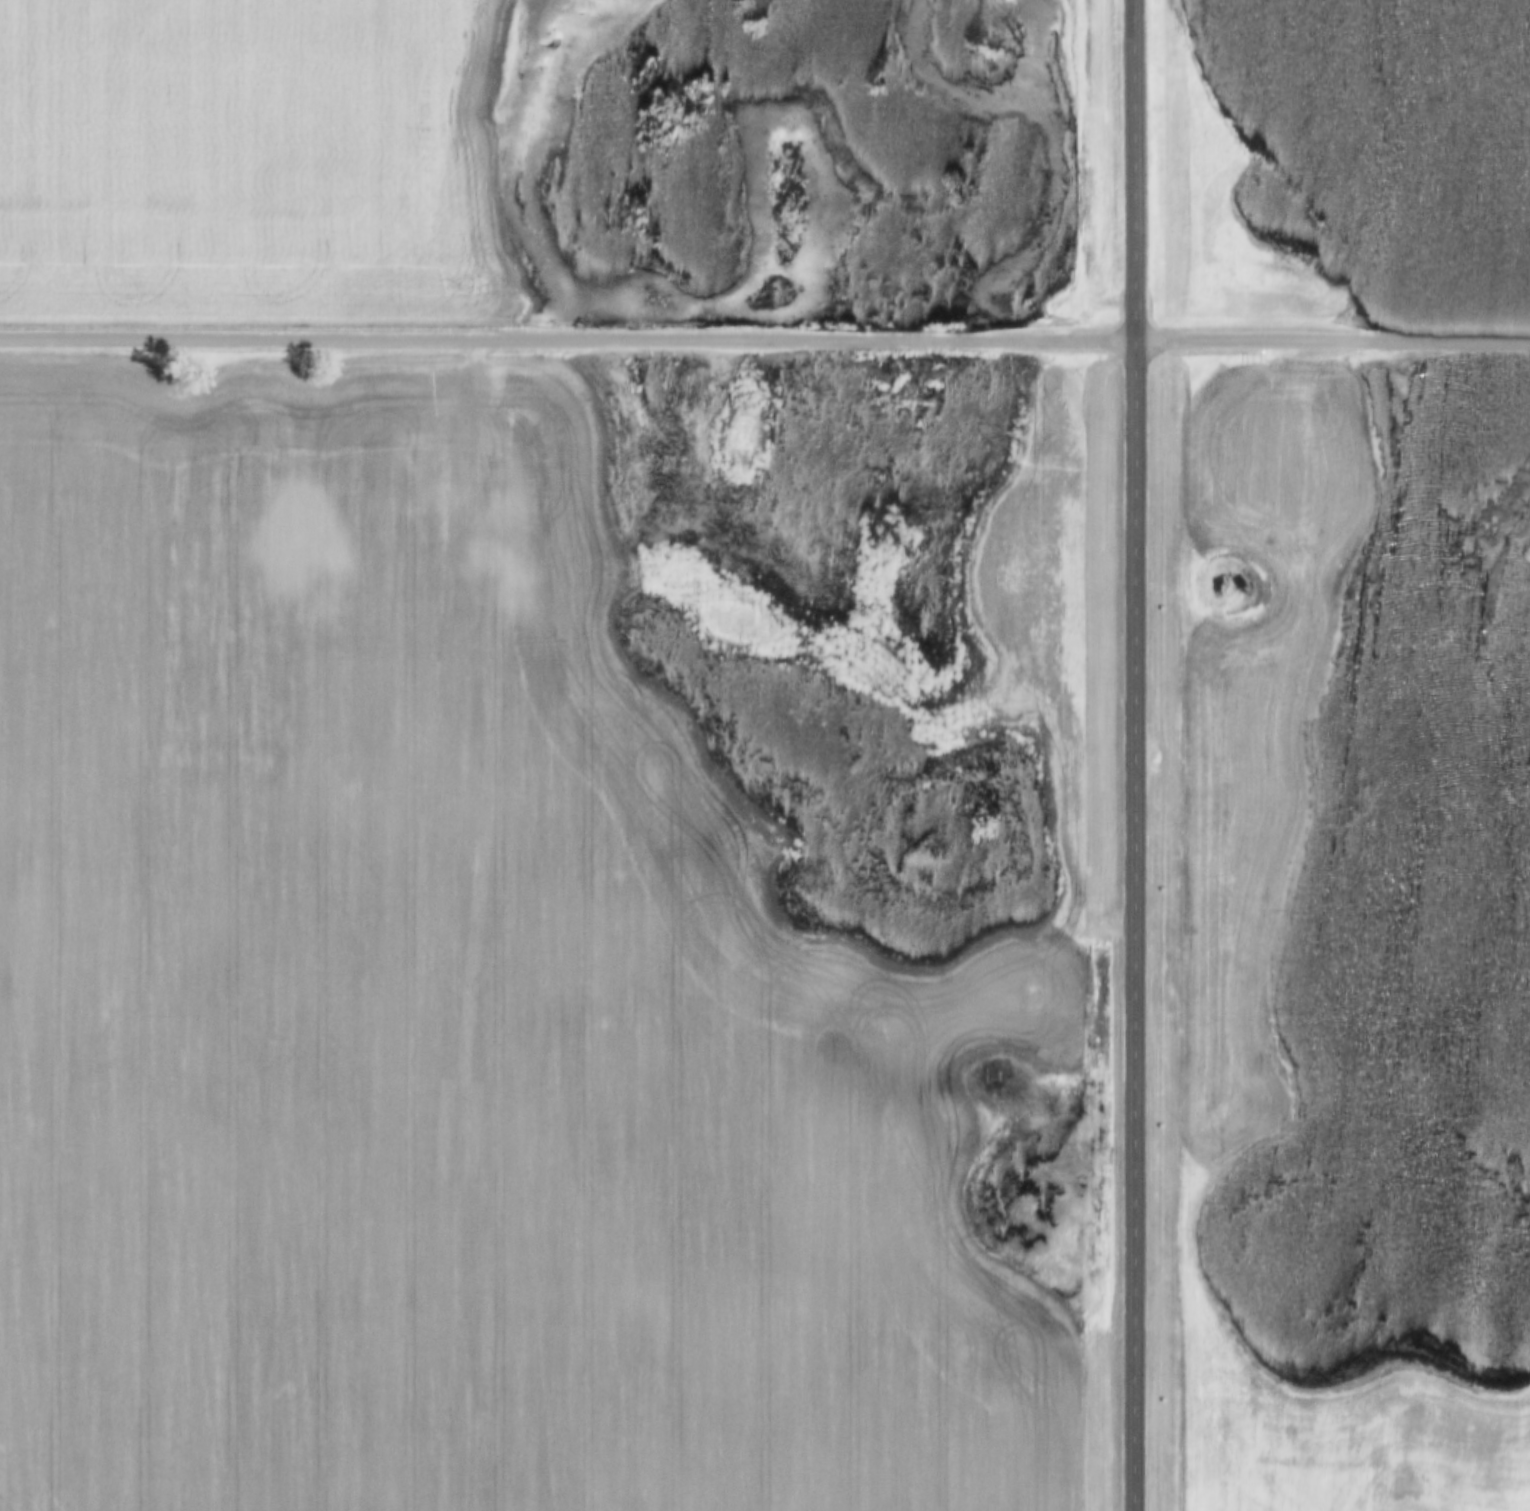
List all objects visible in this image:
road: (567, 338)
road: (1332, 341)
road: (1135, 755)

